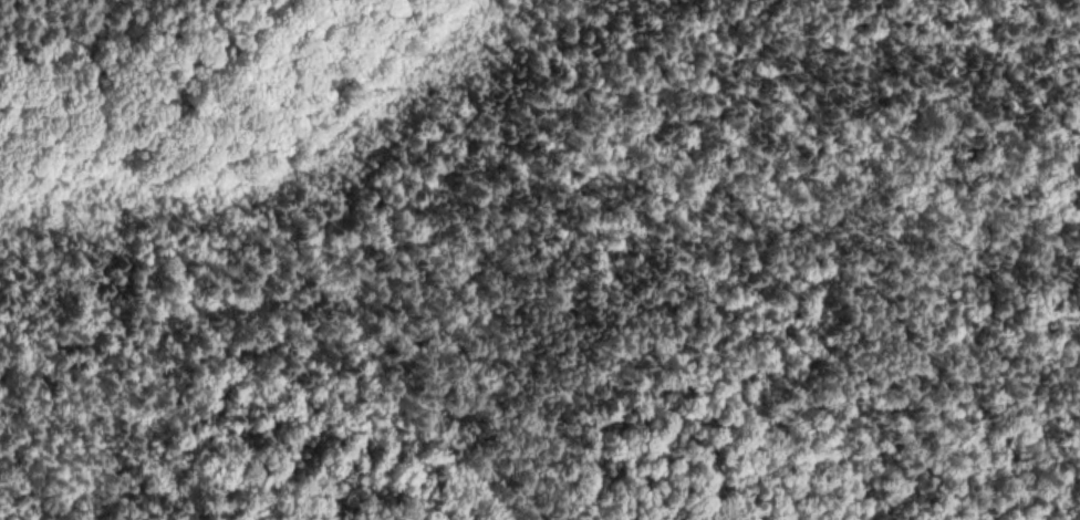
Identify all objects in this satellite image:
road: (21, 18)
road: (32, 77)
road: (180, 142)

